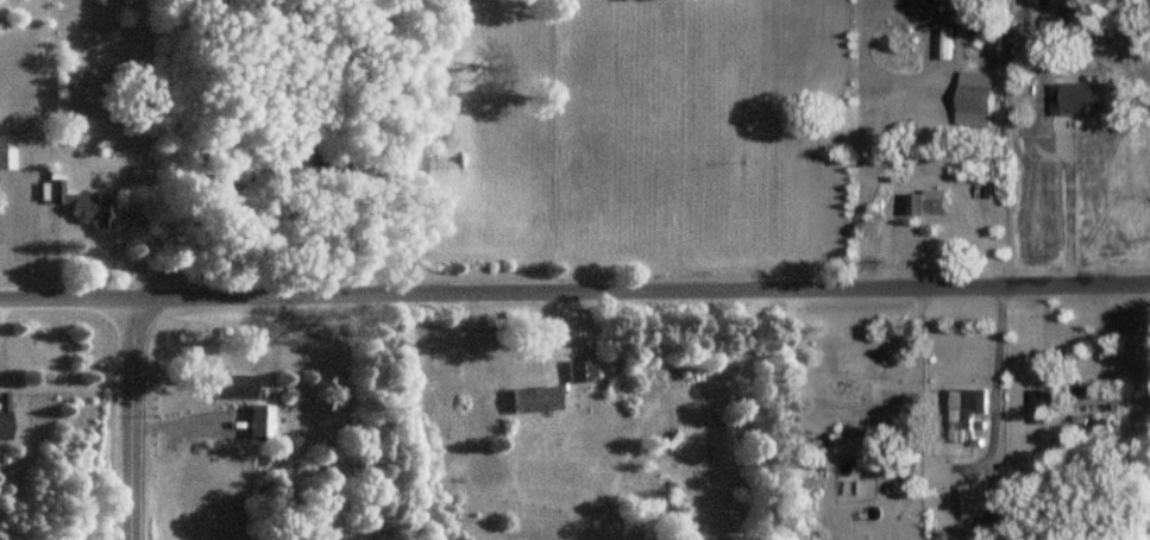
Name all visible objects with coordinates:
building: (1086, 100)
building: (973, 101)
road: (429, 145)
building: (1, 153)
road: (925, 174)
building: (74, 202)
building: (928, 203)
road: (1067, 208)
road: (574, 294)
road: (1, 310)
building: (577, 372)
road: (994, 387)
building: (228, 388)
road: (854, 396)
building: (1100, 400)
building: (532, 401)
road: (735, 406)
building: (1042, 407)
building: (964, 413)
building: (5, 415)
road: (132, 420)
building: (256, 423)
building: (856, 446)
building: (972, 502)
building: (681, 536)

